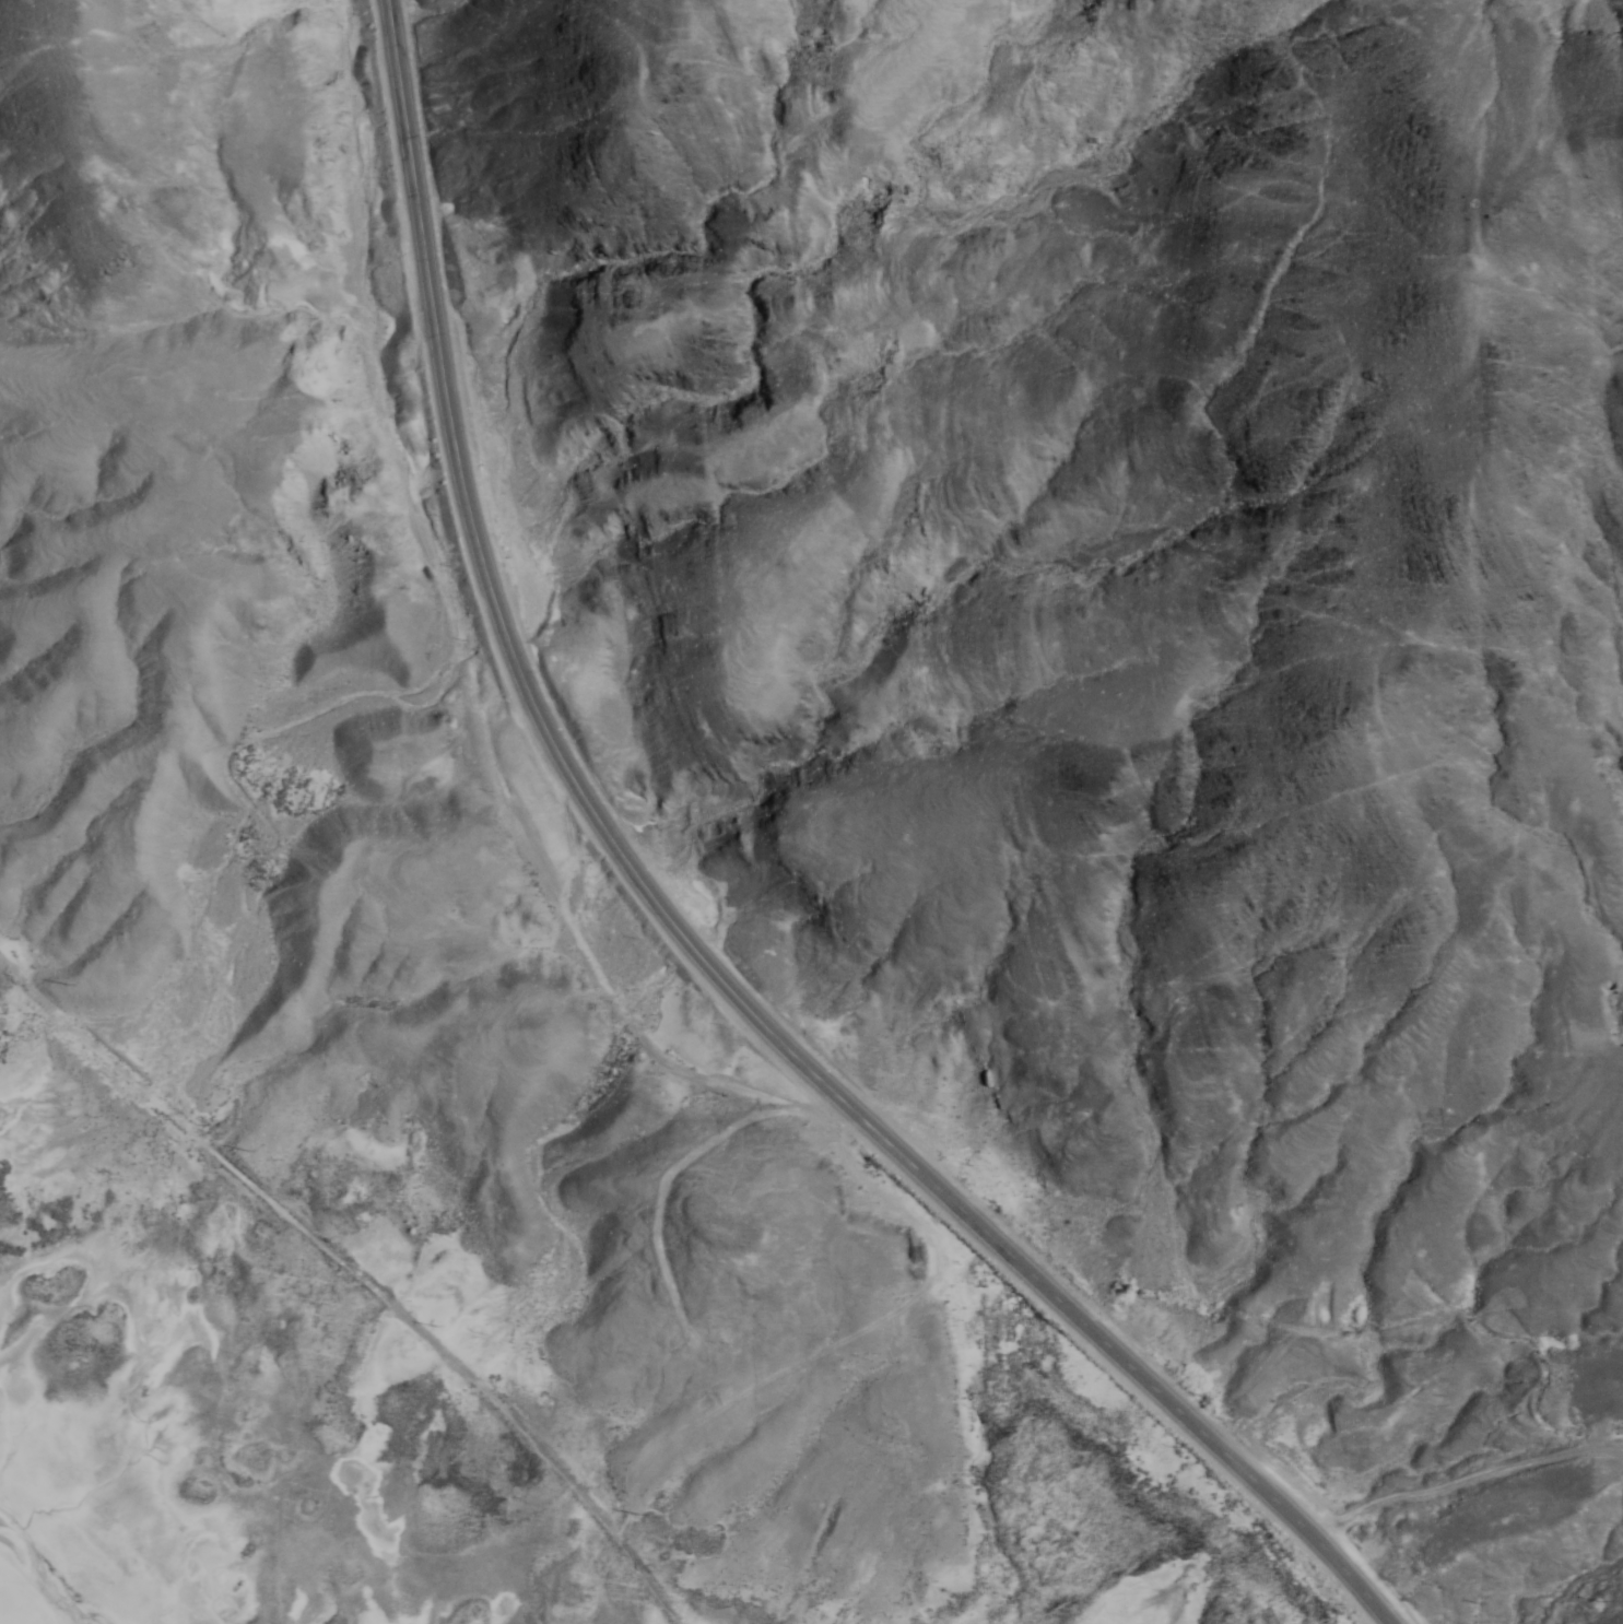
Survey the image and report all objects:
road: (678, 931)
road: (696, 1146)
road: (734, 1146)
road: (878, 1316)
road: (1463, 1482)

